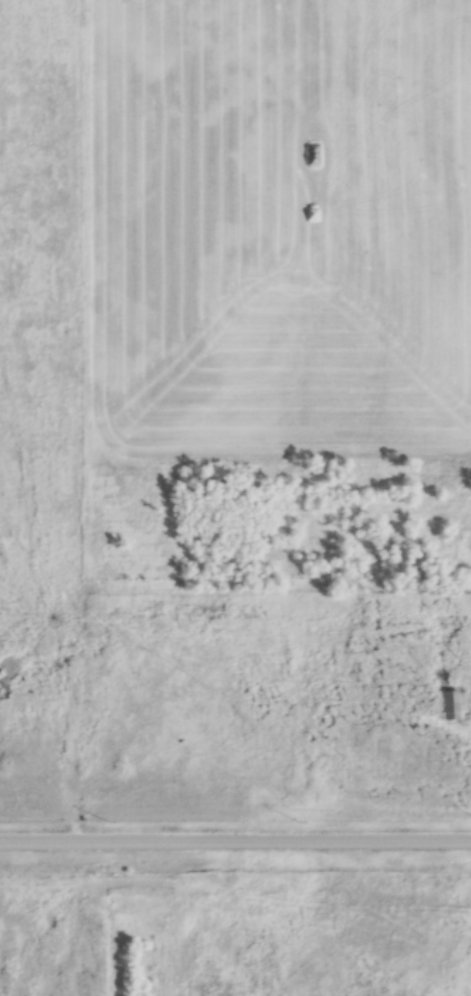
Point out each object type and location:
building: (449, 707)
road: (235, 835)

